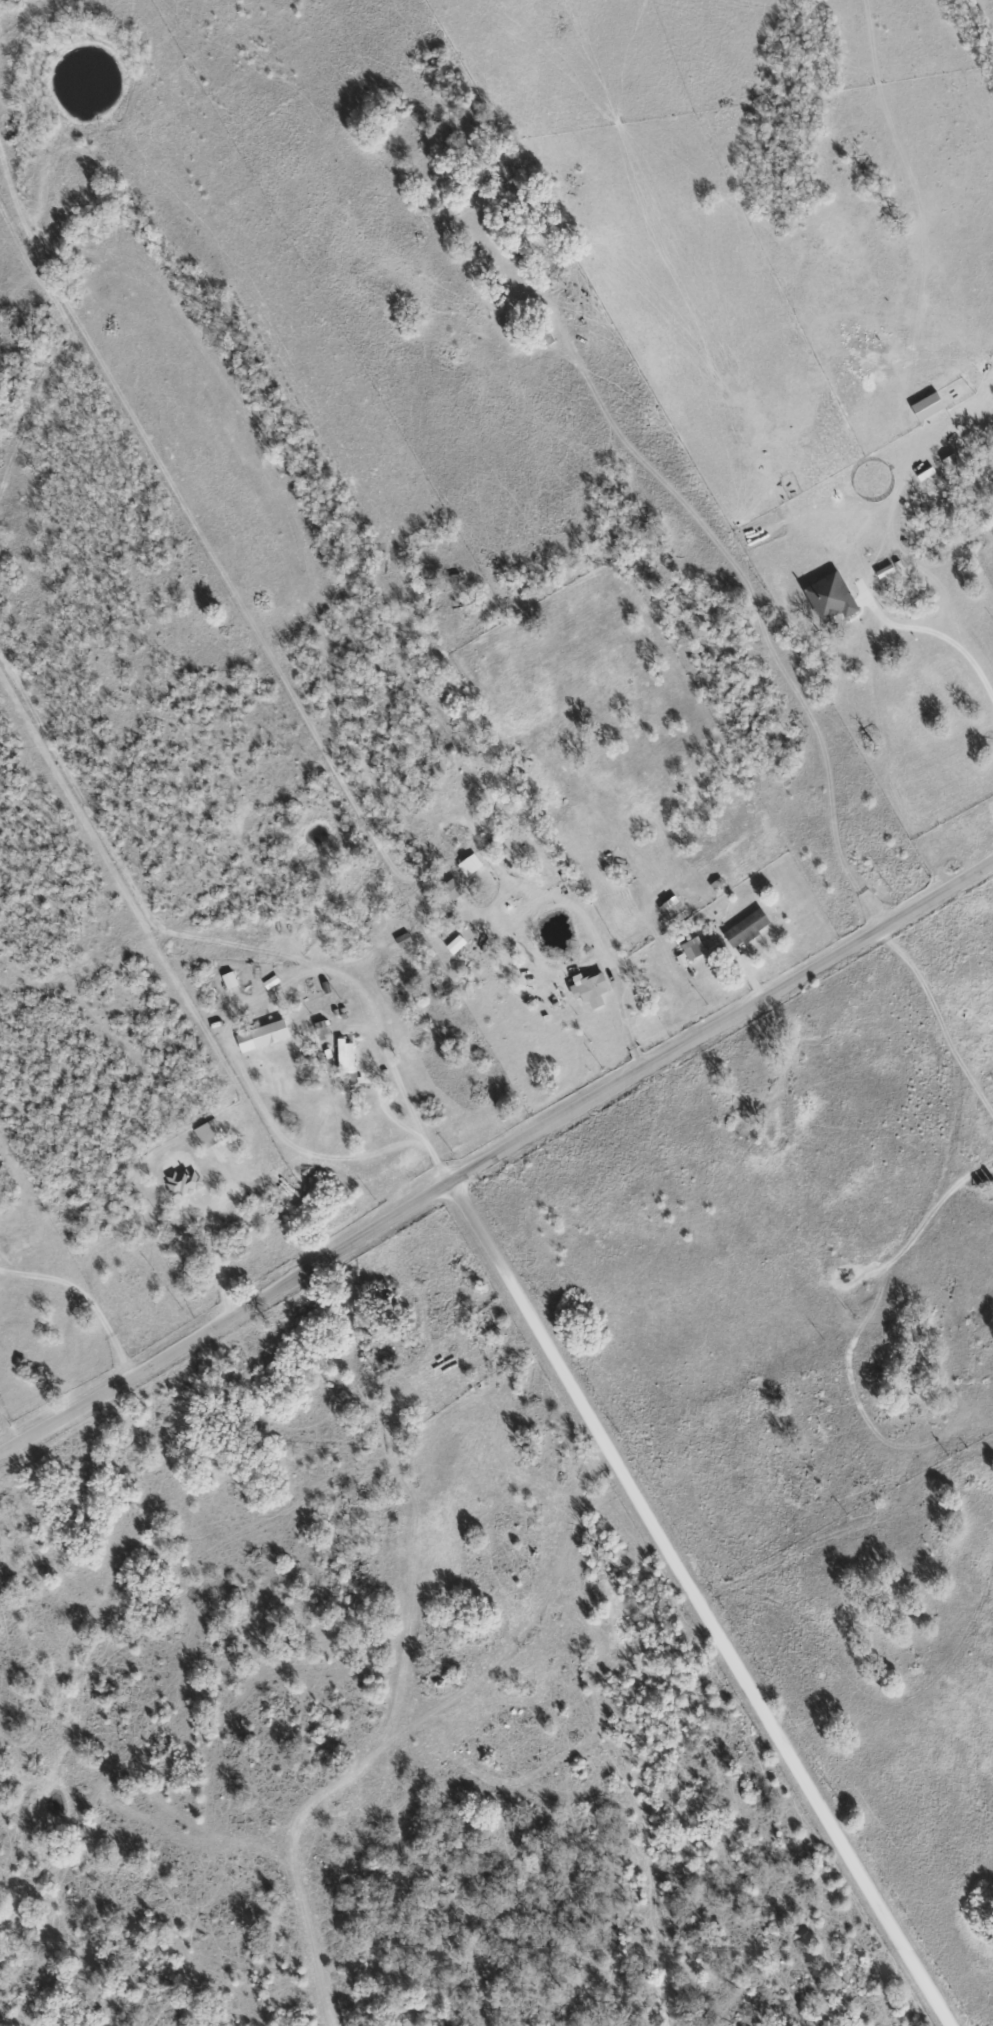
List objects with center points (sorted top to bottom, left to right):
building: (925, 406)
building: (827, 597)
road: (753, 598)
road: (942, 631)
building: (468, 865)
building: (450, 889)
building: (743, 928)
building: (453, 944)
building: (691, 948)
building: (679, 959)
building: (228, 980)
building: (587, 989)
building: (319, 1028)
building: (260, 1036)
building: (344, 1061)
road: (392, 1119)
building: (207, 1134)
road: (494, 1154)
road: (316, 1158)
building: (181, 1181)
road: (87, 1295)
road: (709, 1601)

